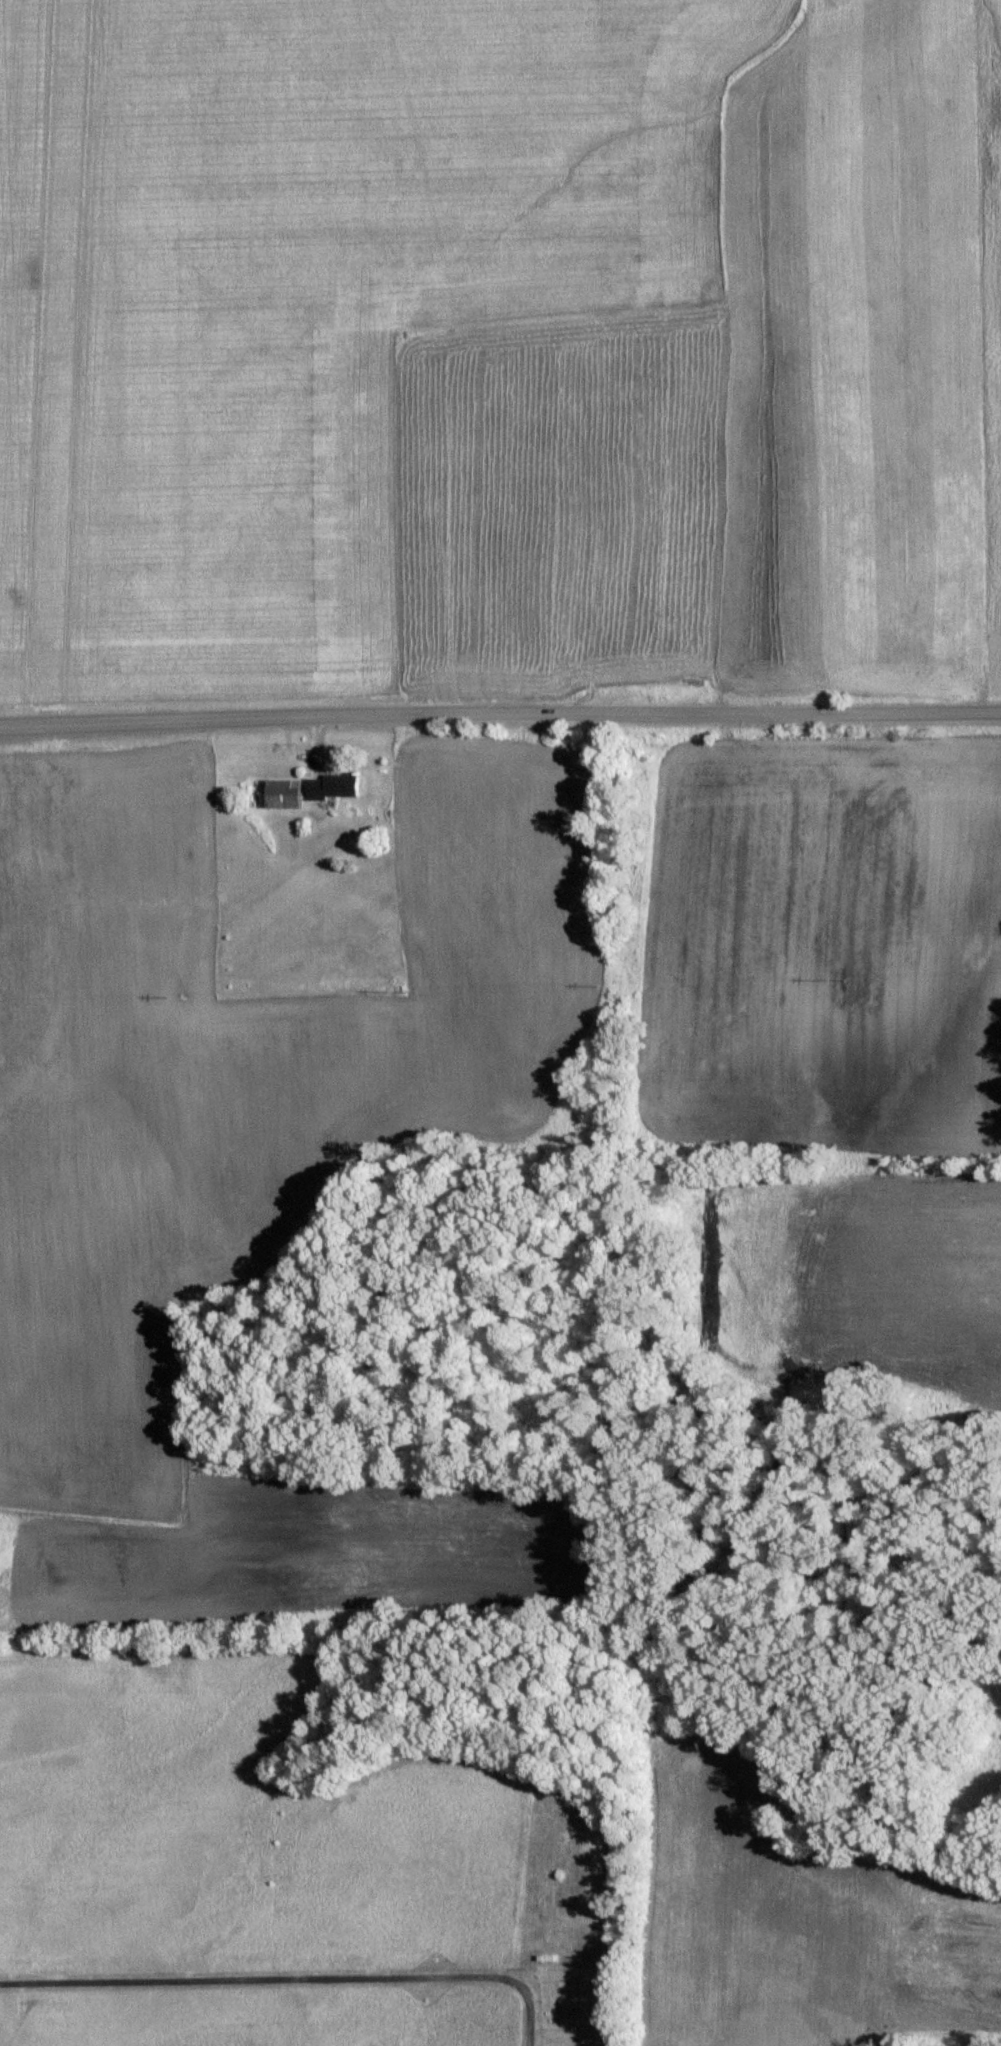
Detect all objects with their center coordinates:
road: (500, 715)
building: (339, 784)
building: (288, 792)

